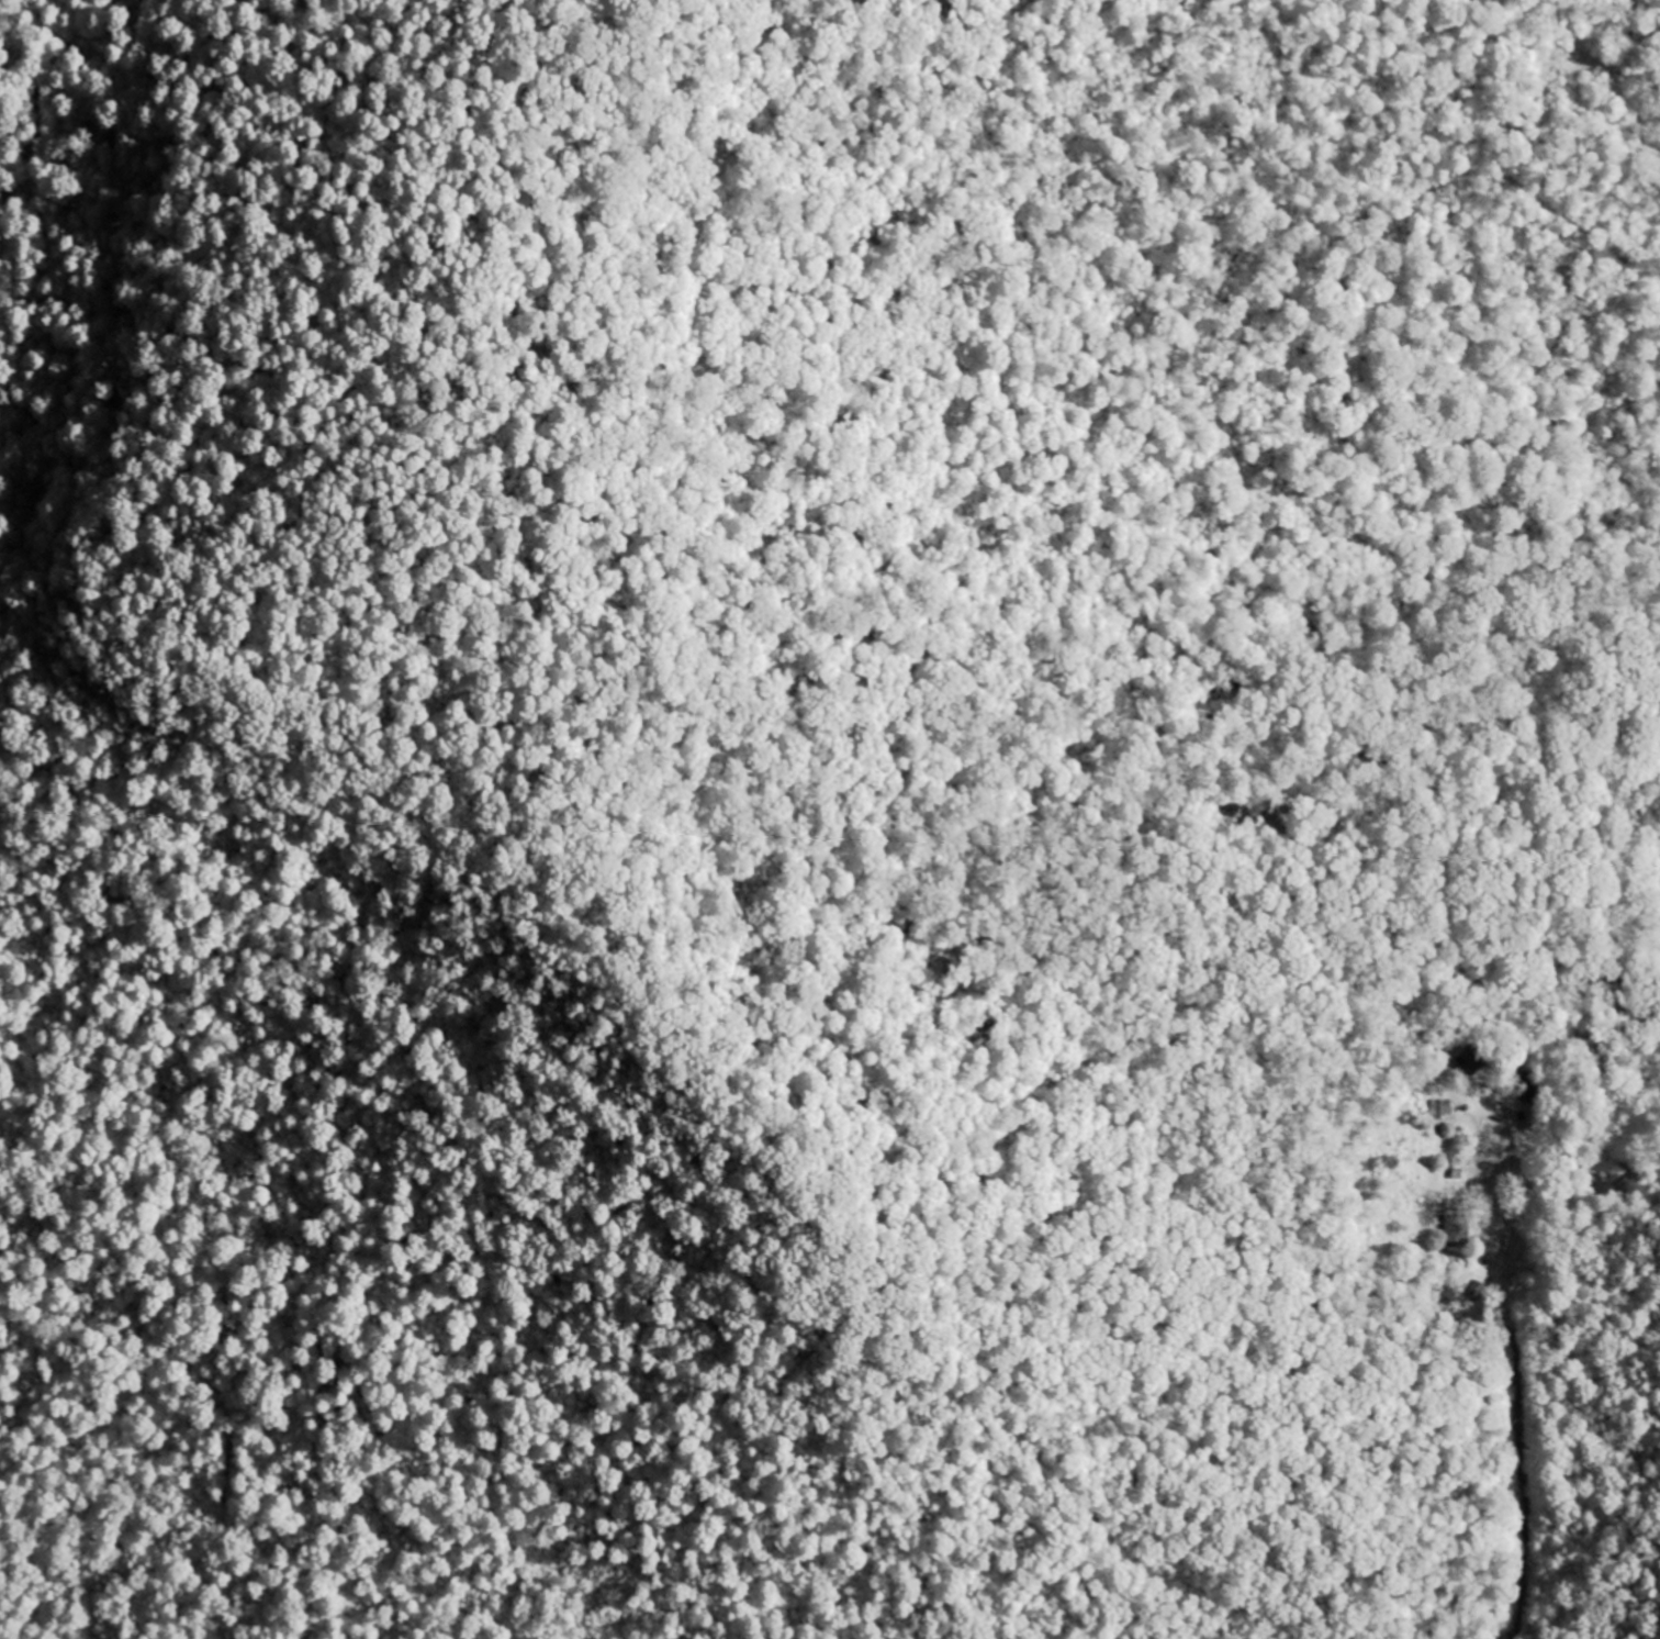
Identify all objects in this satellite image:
building: (1442, 1111)
building: (1456, 1230)
building: (1477, 1292)
road: (1527, 1478)

